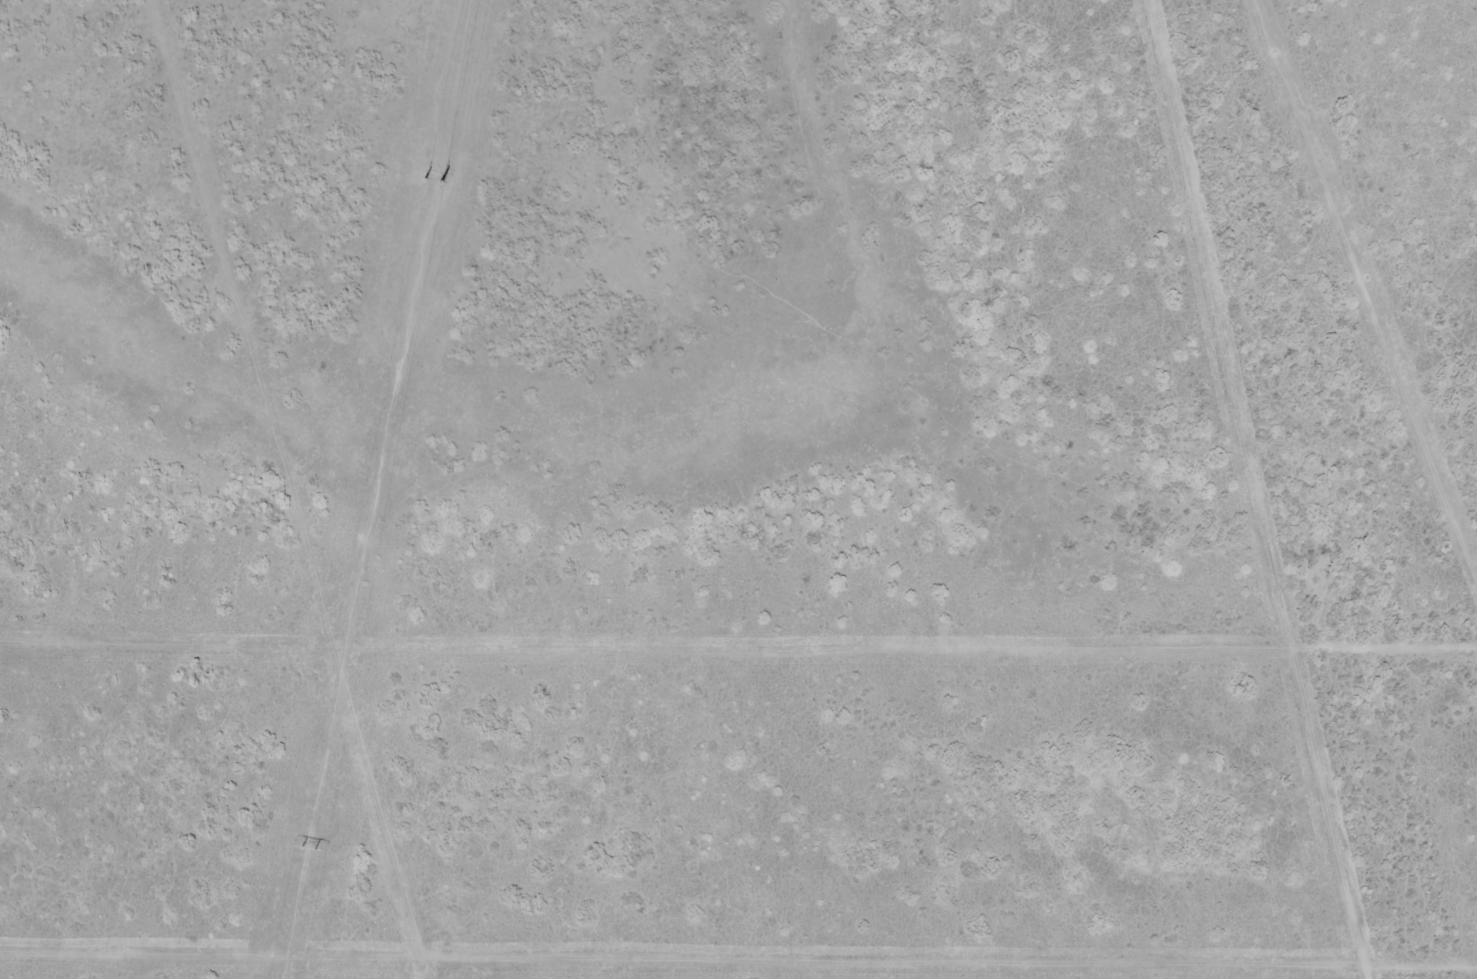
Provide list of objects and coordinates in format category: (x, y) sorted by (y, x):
power tower: (436, 171)
power tower: (306, 851)

